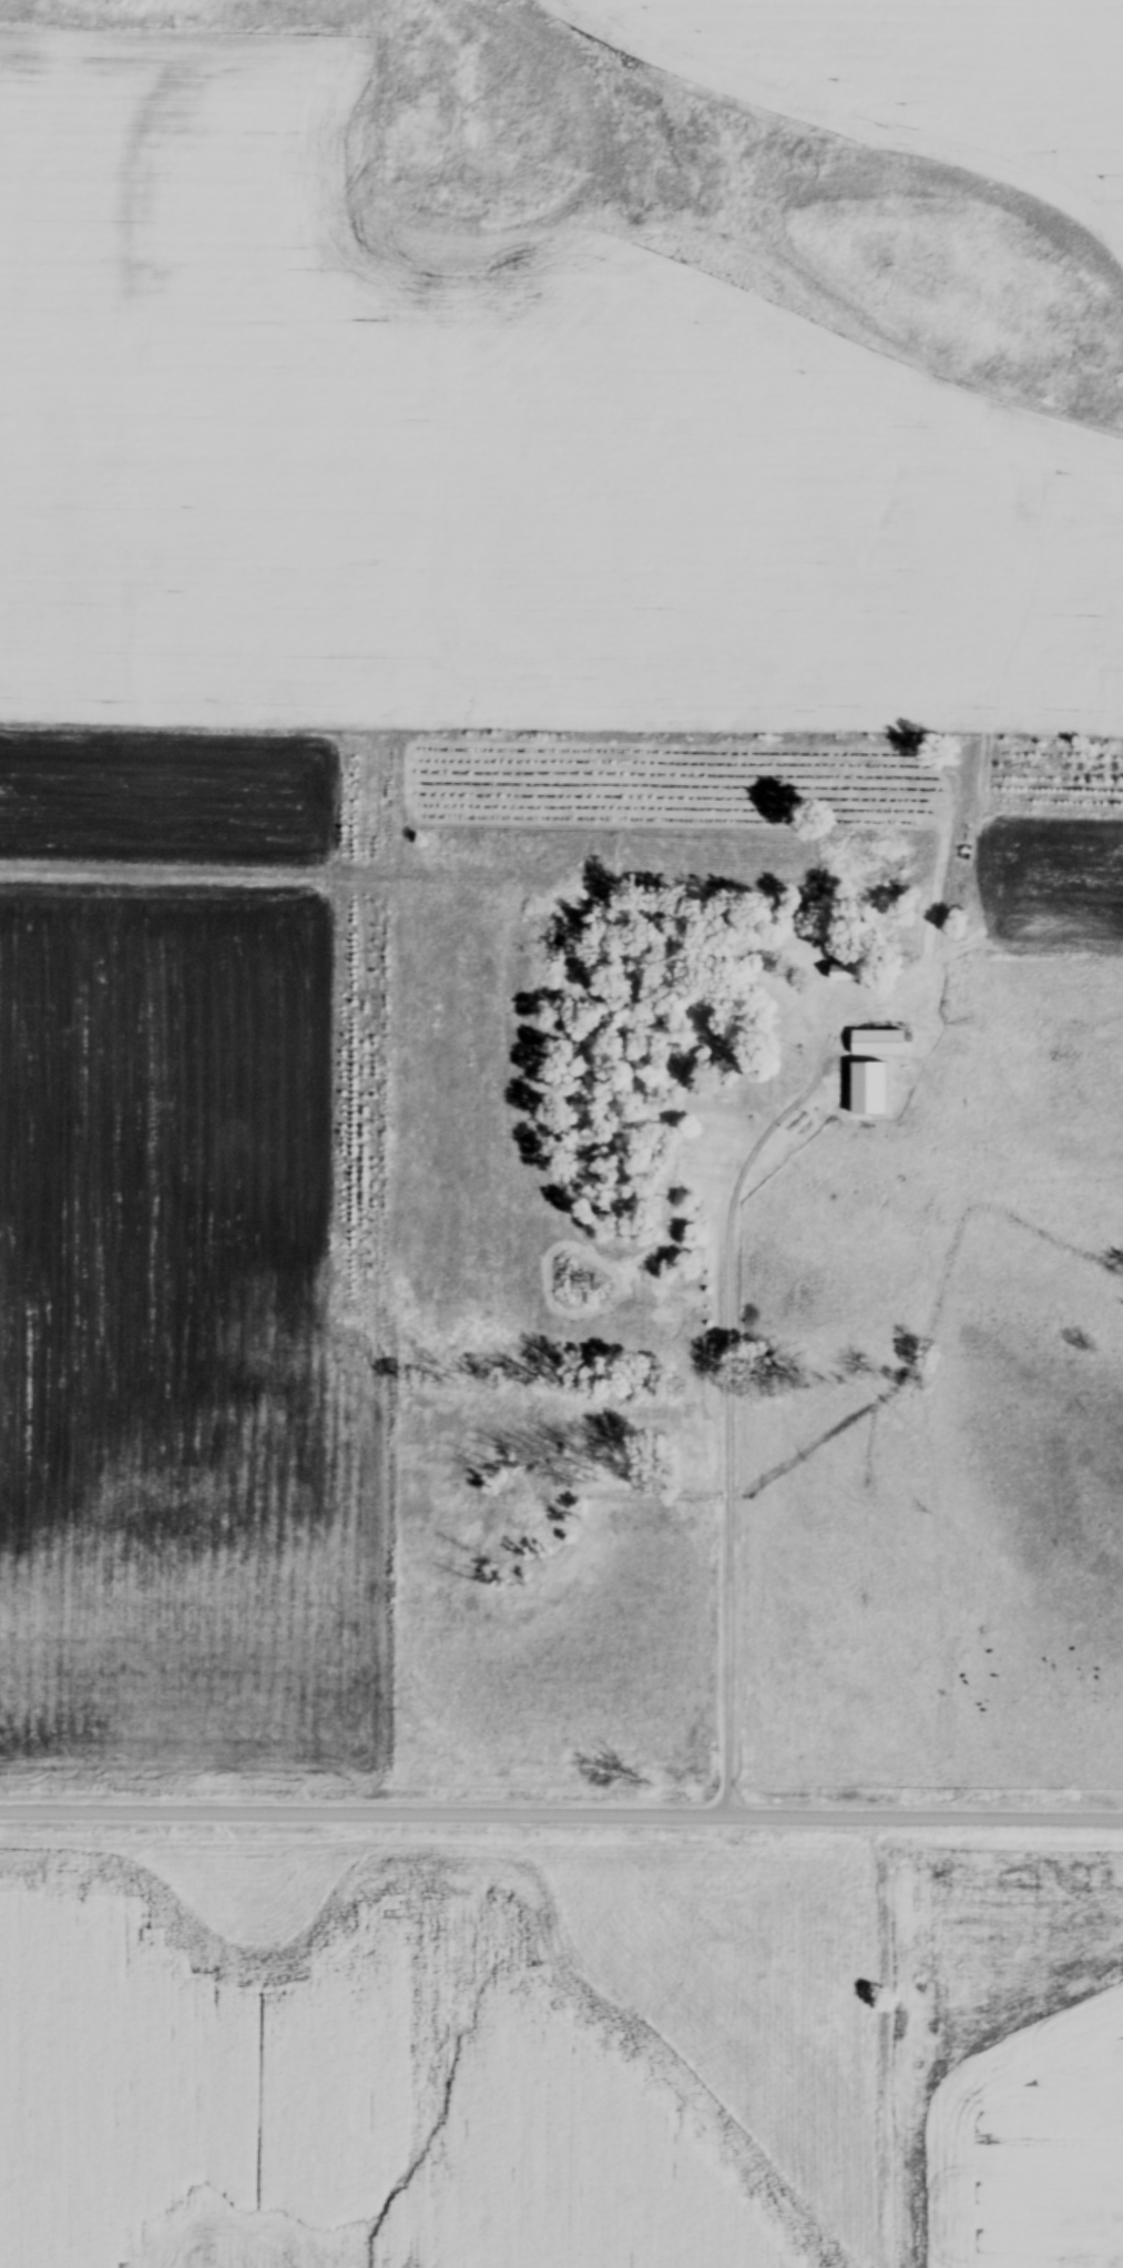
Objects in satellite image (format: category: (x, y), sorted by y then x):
building: (947, 801)
building: (854, 973)
building: (877, 1044)
building: (724, 1048)
building: (866, 1089)
road: (723, 1422)
road: (561, 1814)

